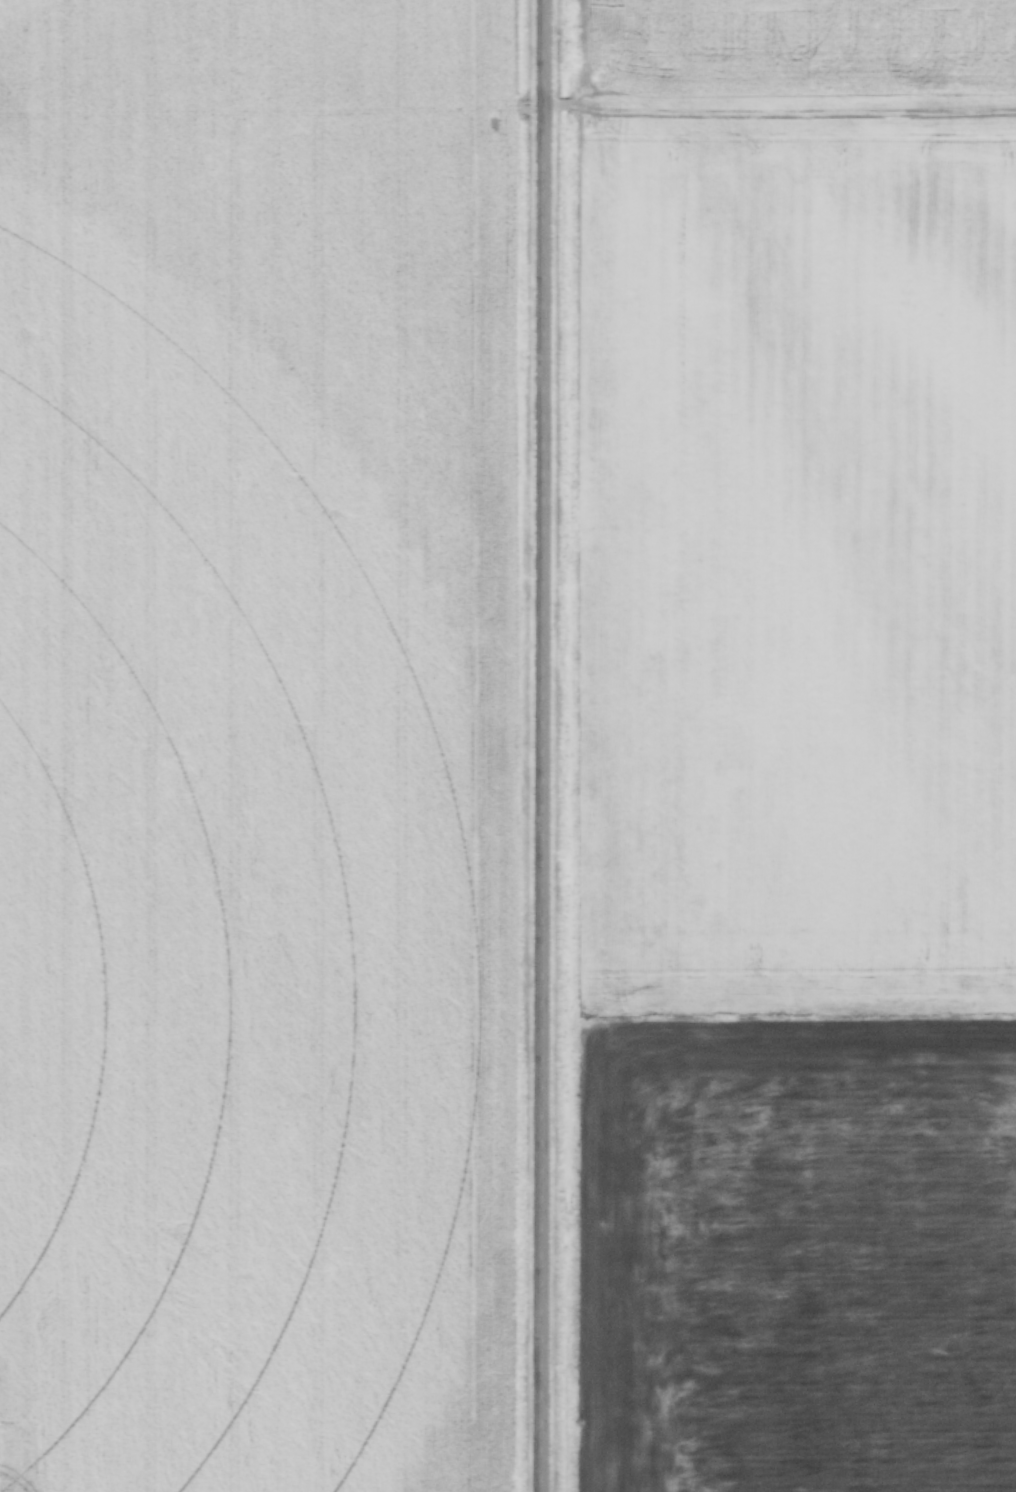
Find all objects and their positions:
road: (541, 746)

